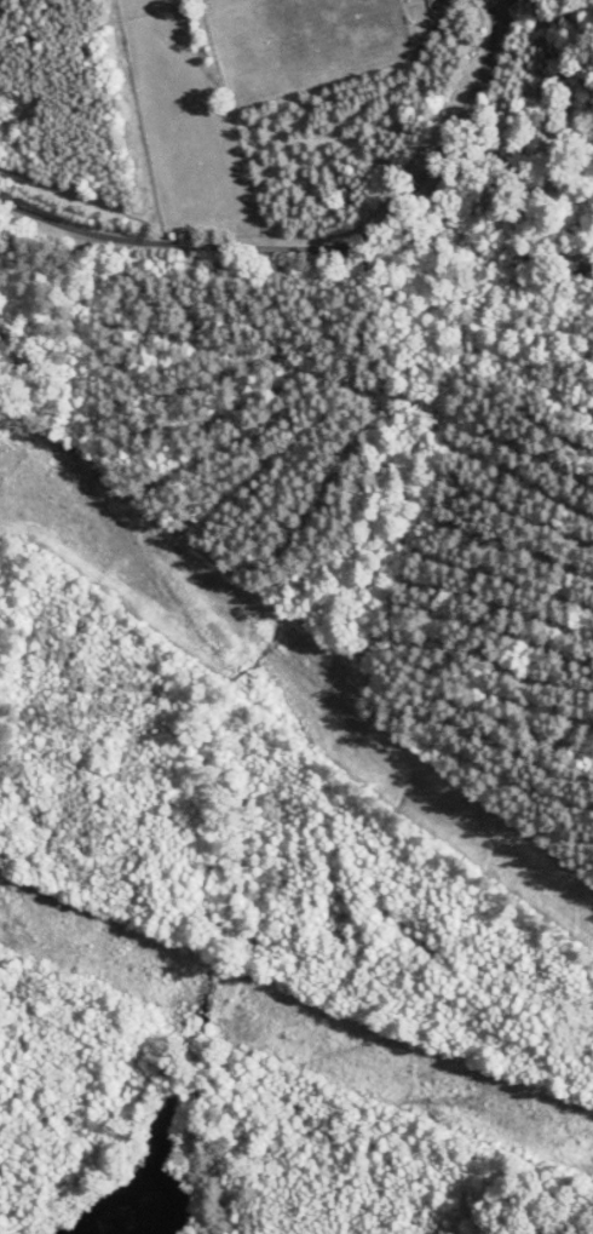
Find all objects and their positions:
road: (321, 248)
power tower: (474, 1100)

